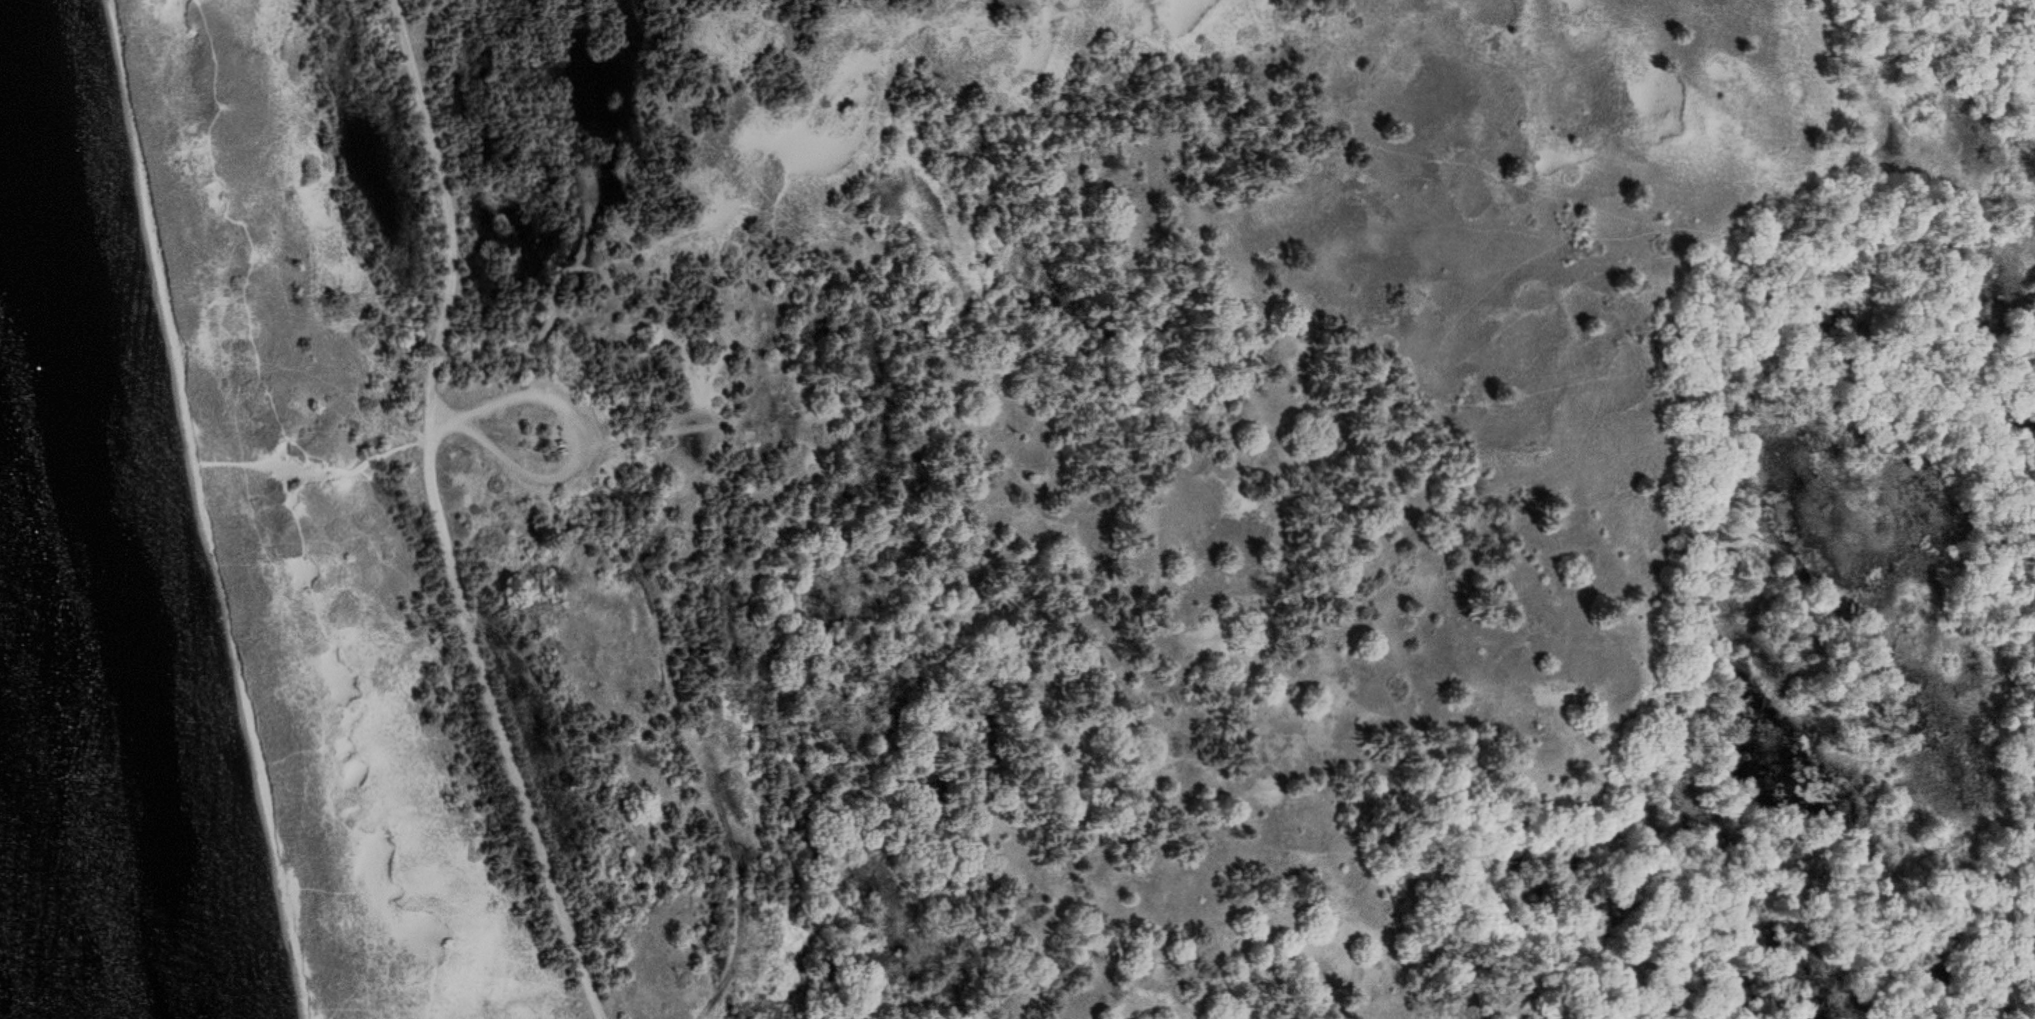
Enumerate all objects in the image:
road: (587, 445)
park: (1075, 499)
road: (441, 517)
road: (908, 999)

